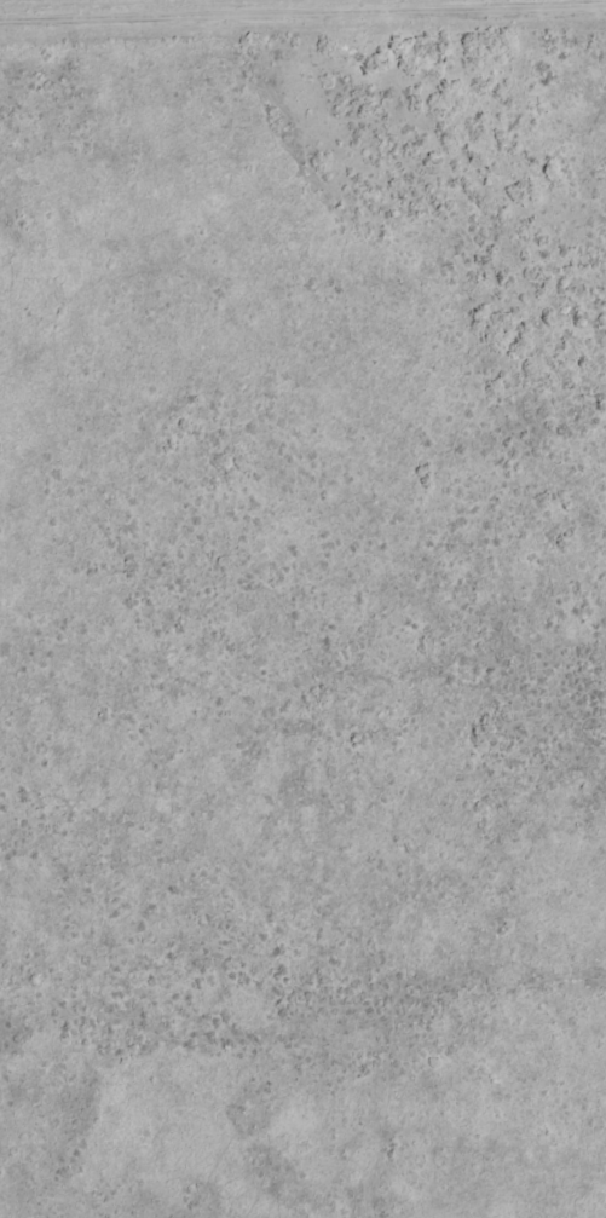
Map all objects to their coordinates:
road: (302, 7)

